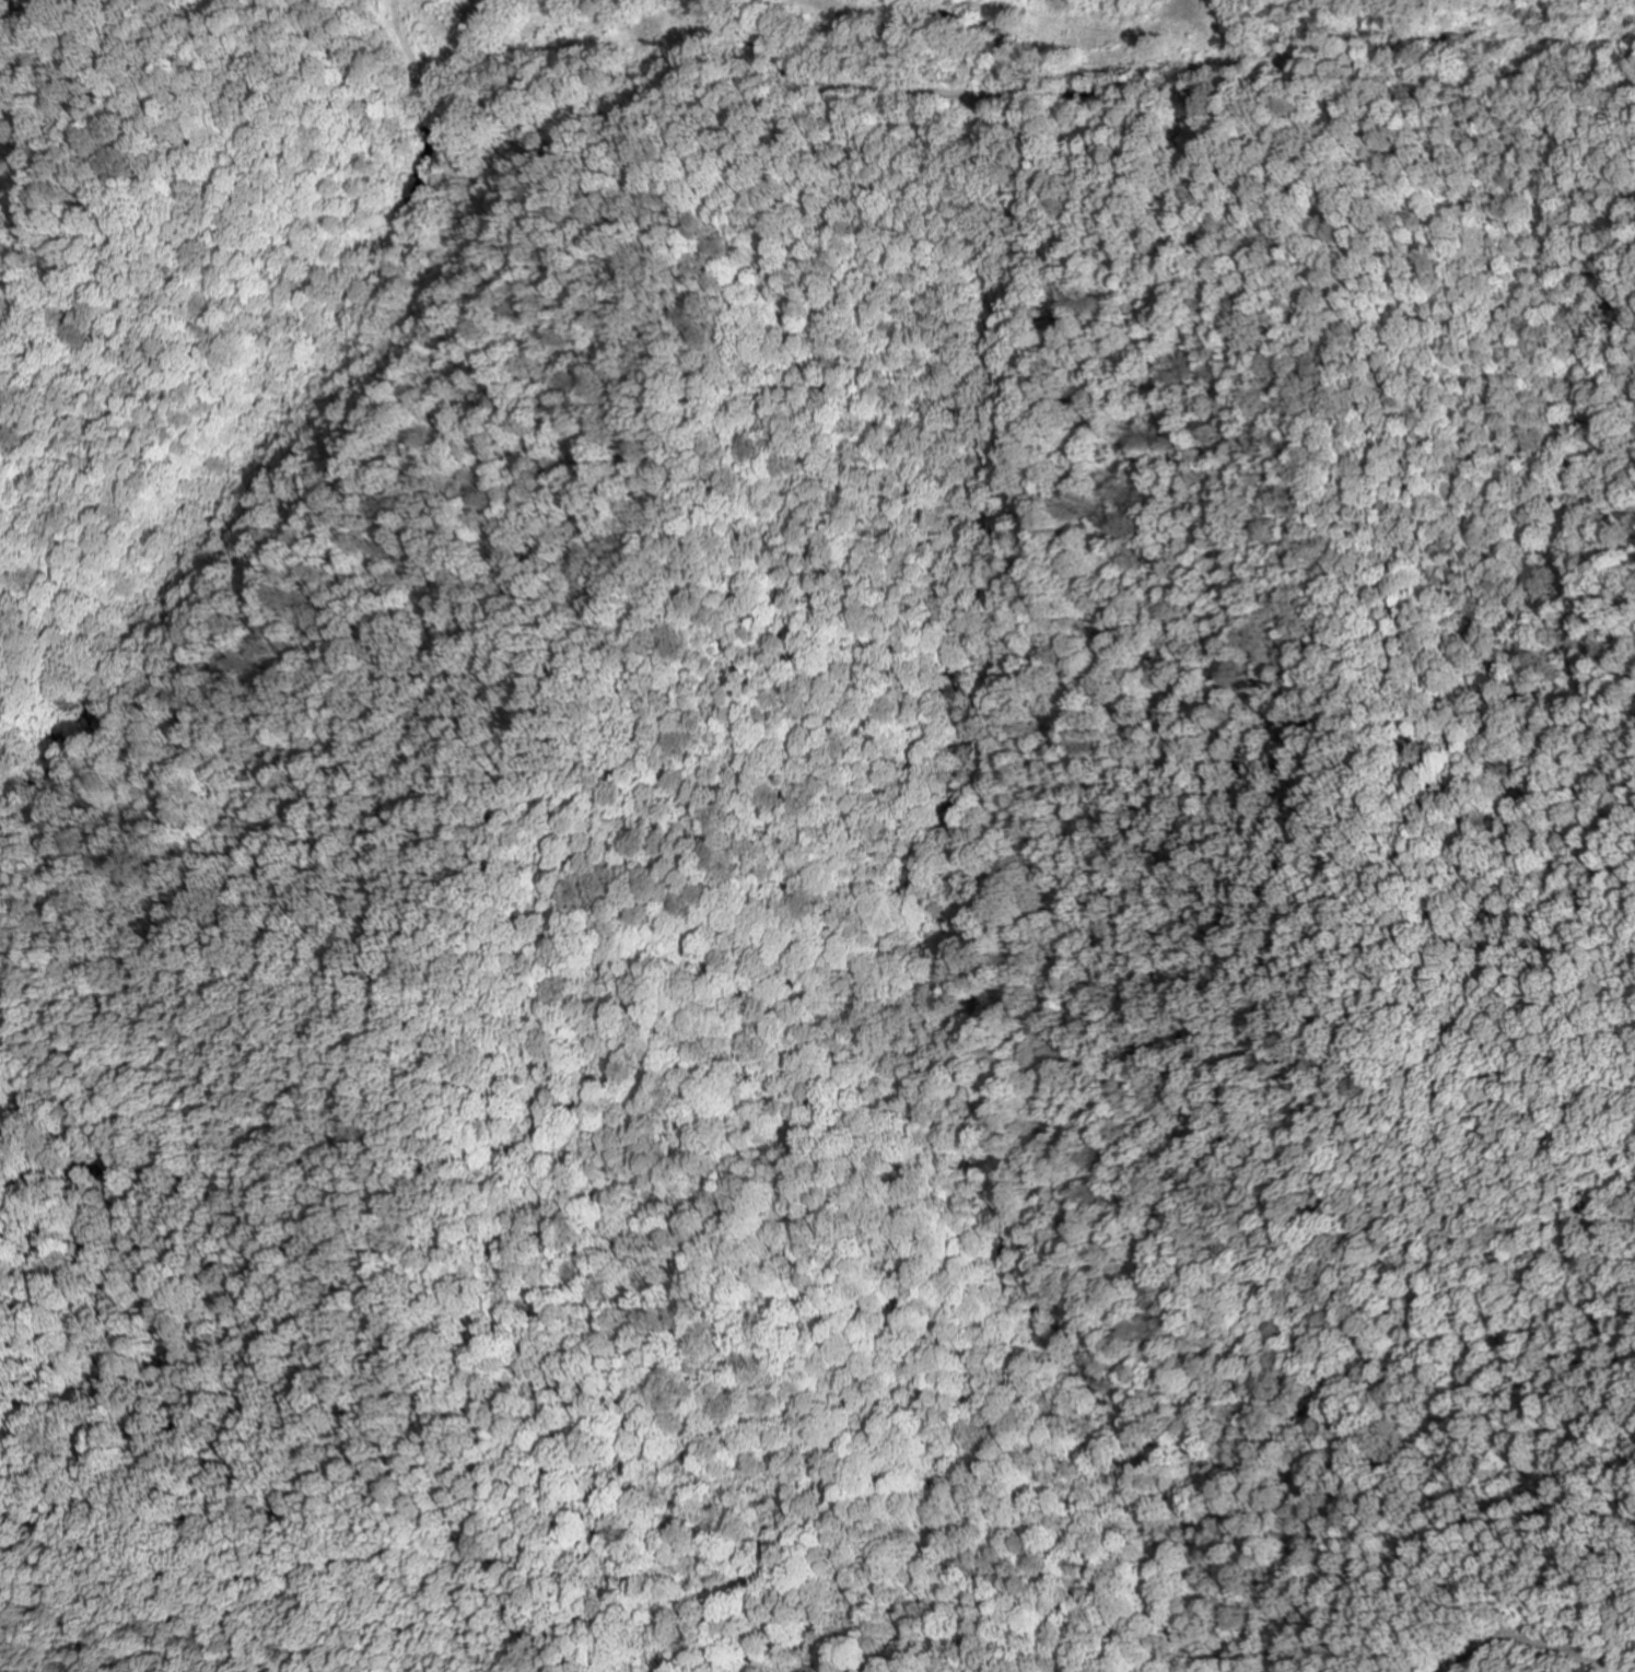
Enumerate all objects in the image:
road: (1523, 1639)

